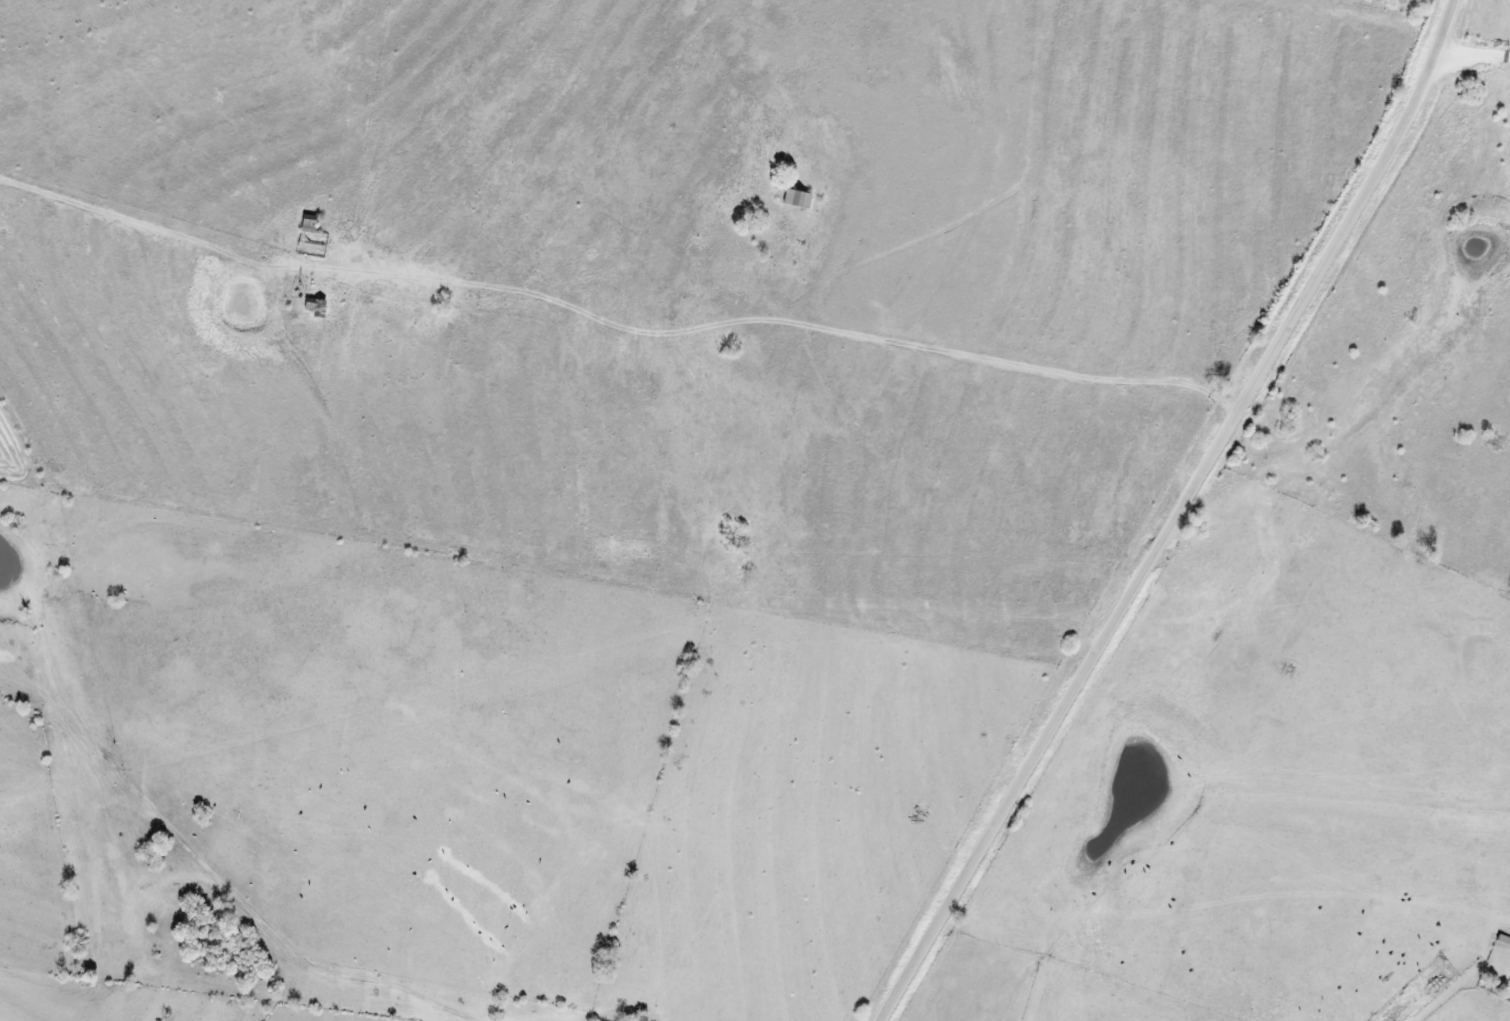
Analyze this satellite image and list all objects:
building: (798, 198)
road: (774, 339)
road: (1178, 515)
building: (1503, 939)

